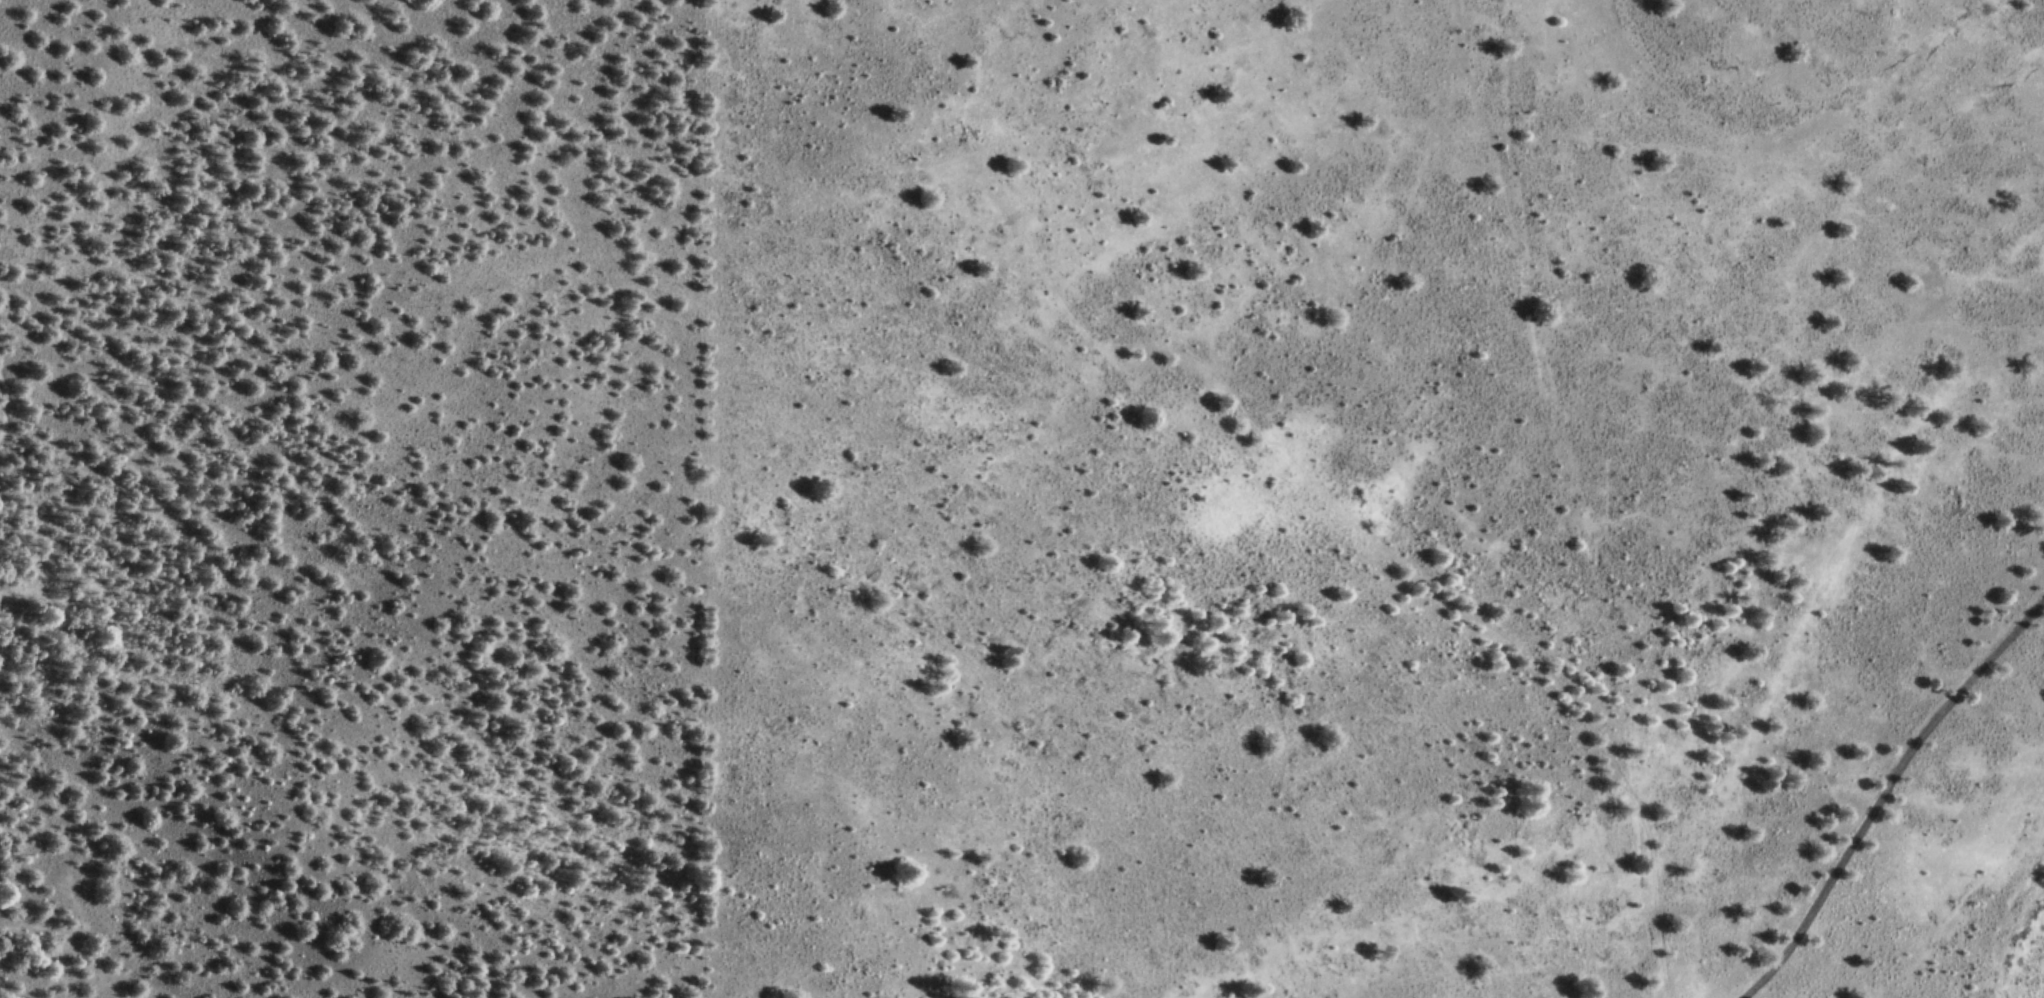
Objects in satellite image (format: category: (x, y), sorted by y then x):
road: (1883, 794)

